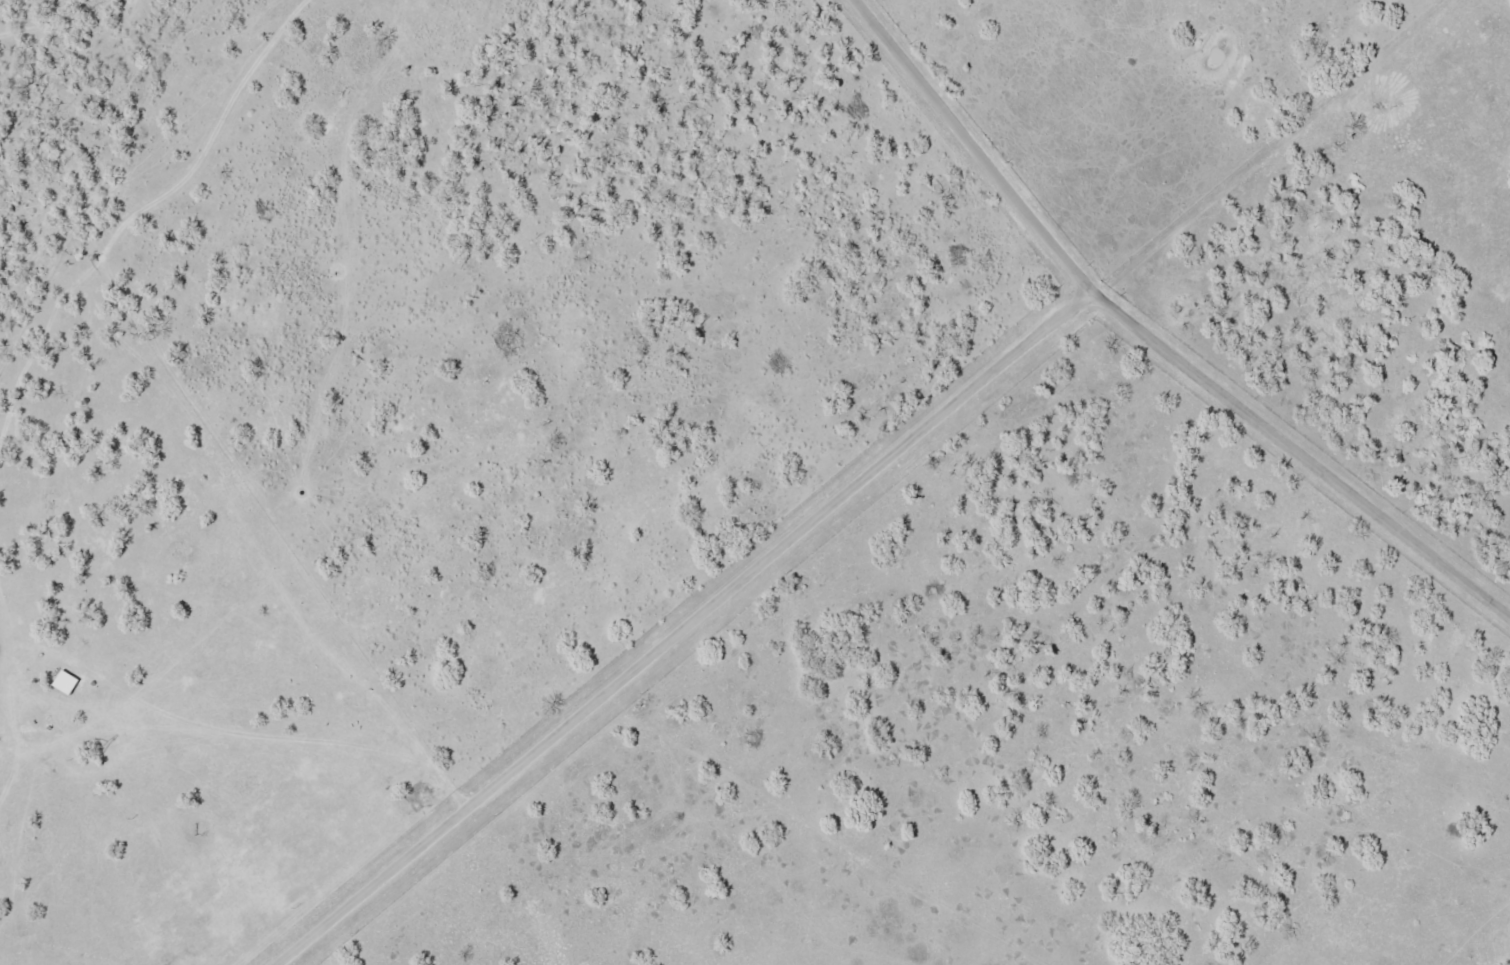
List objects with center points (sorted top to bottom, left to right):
road: (1157, 334)
road: (693, 627)

